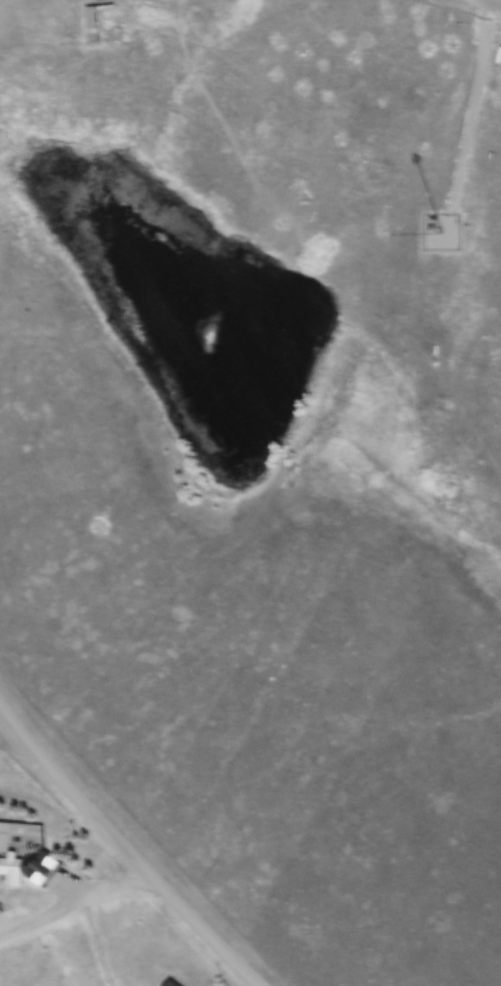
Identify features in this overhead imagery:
road: (500, 0)
building: (144, 11)
road: (125, 850)
building: (11, 867)
road: (73, 897)

